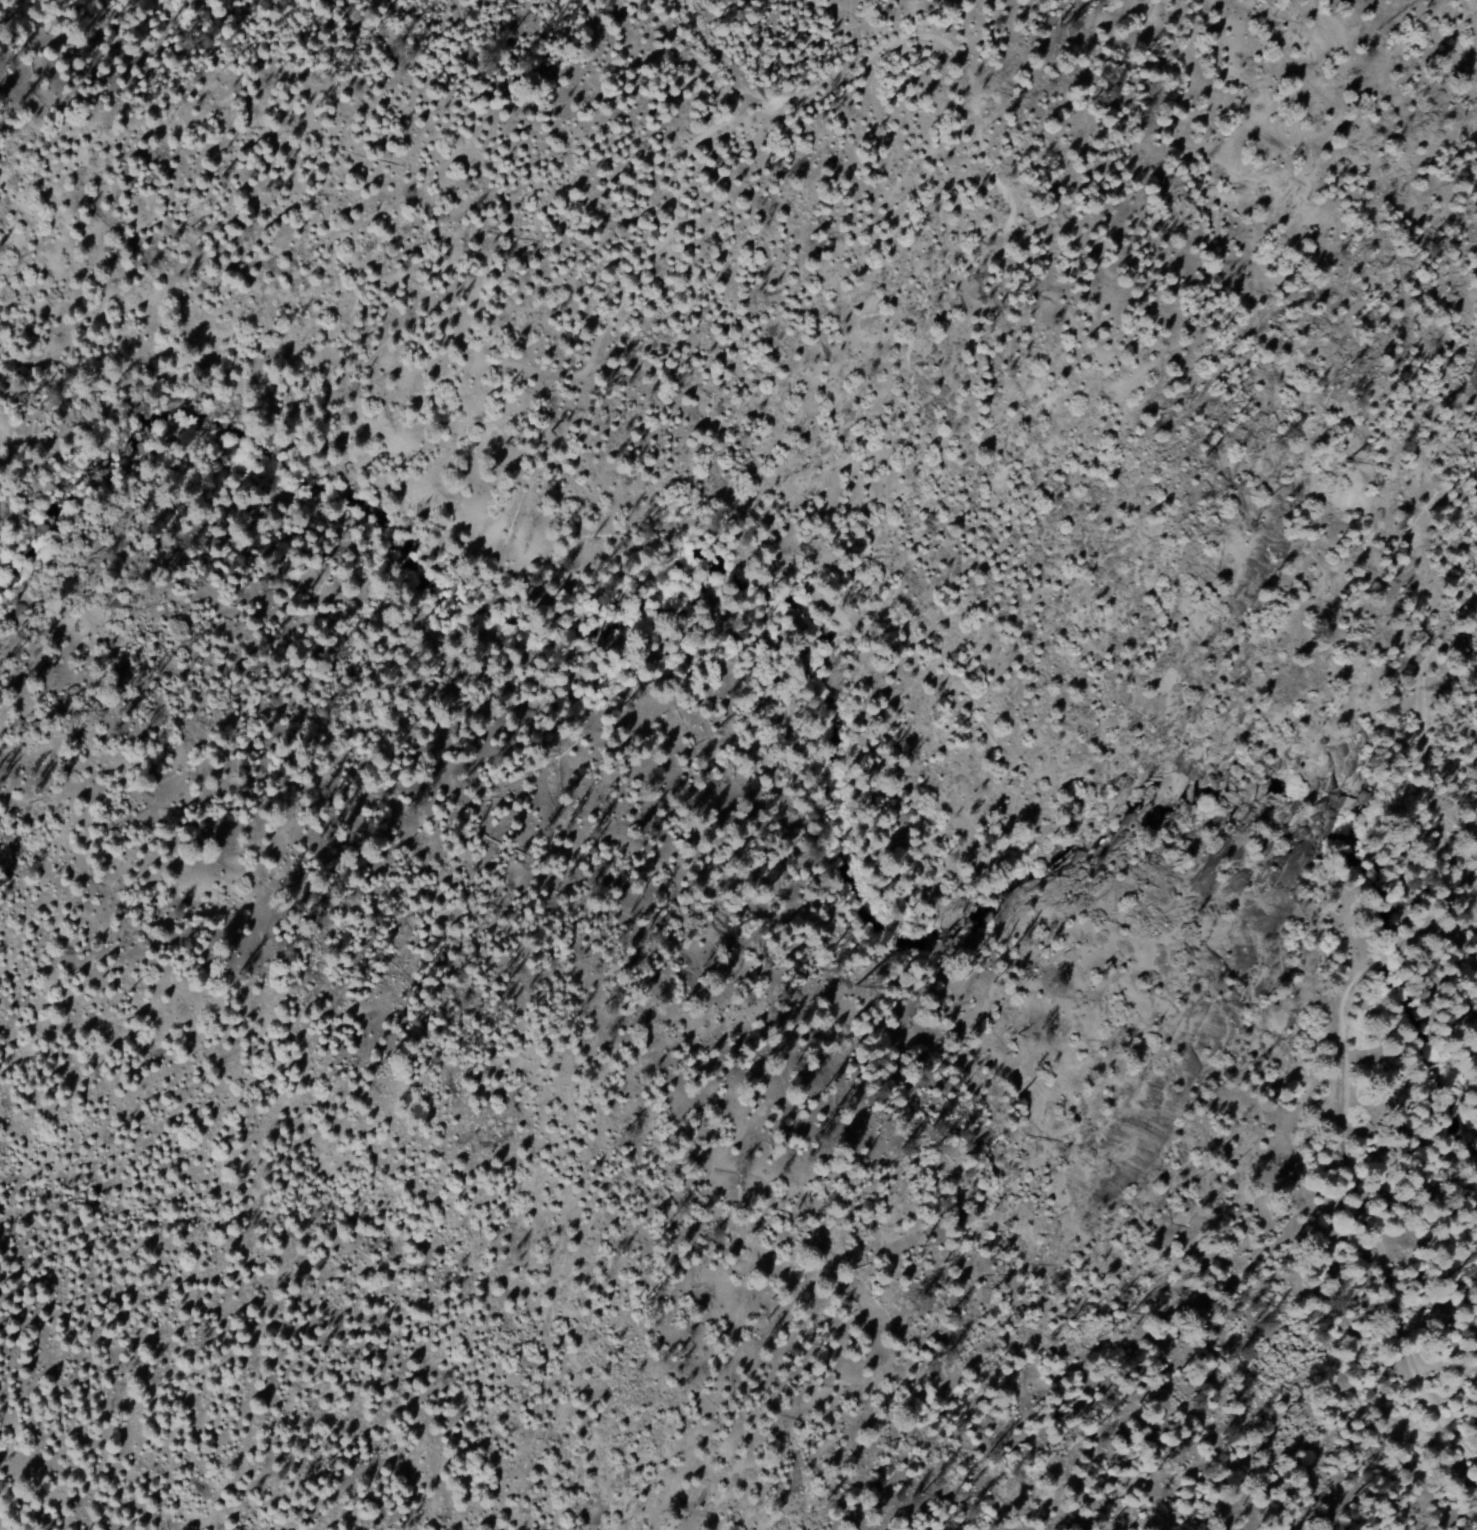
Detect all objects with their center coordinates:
road: (972, 80)
road: (631, 285)
road: (1349, 1168)

